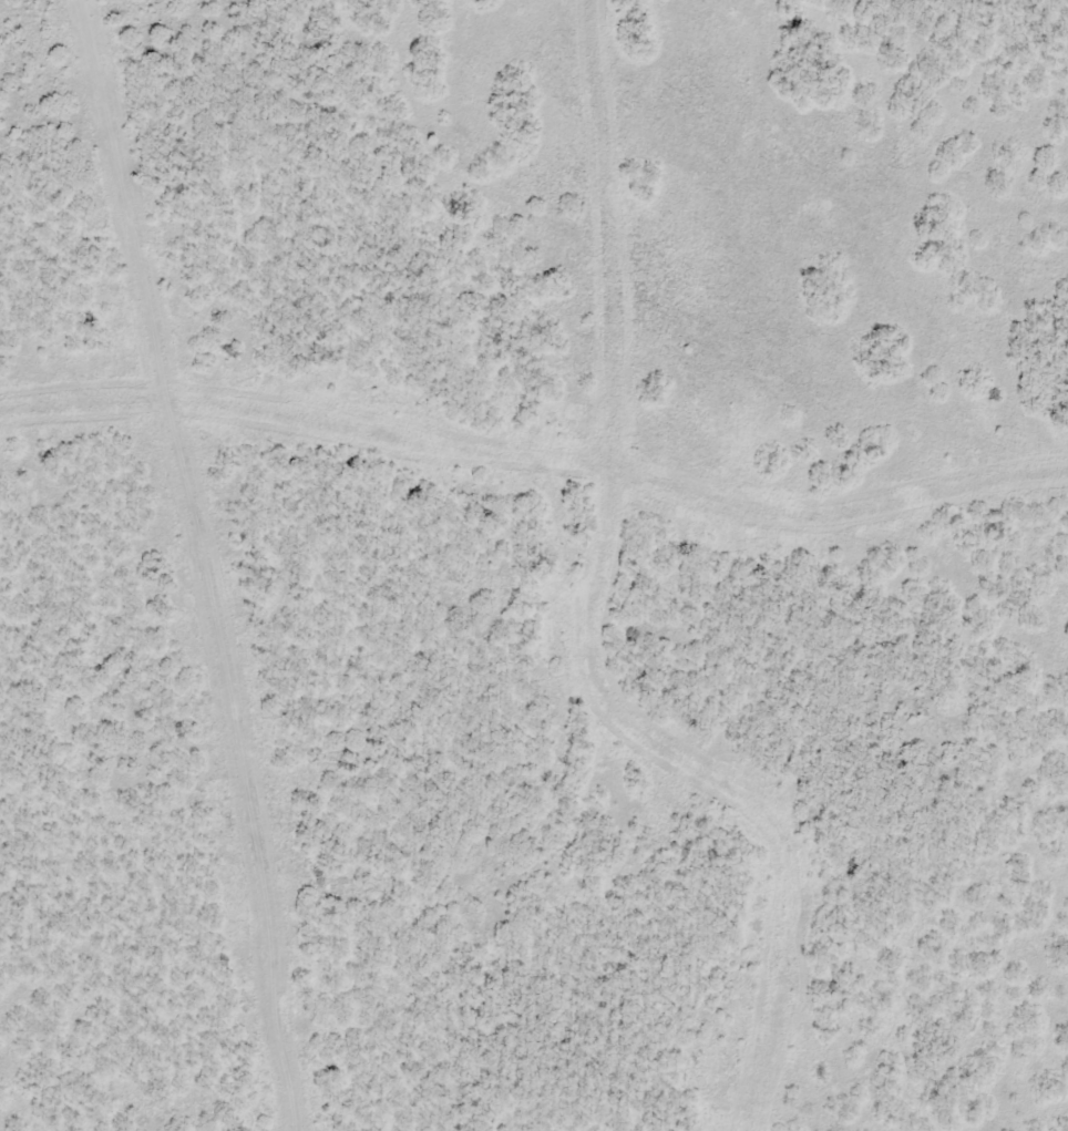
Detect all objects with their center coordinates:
road: (143, 566)

